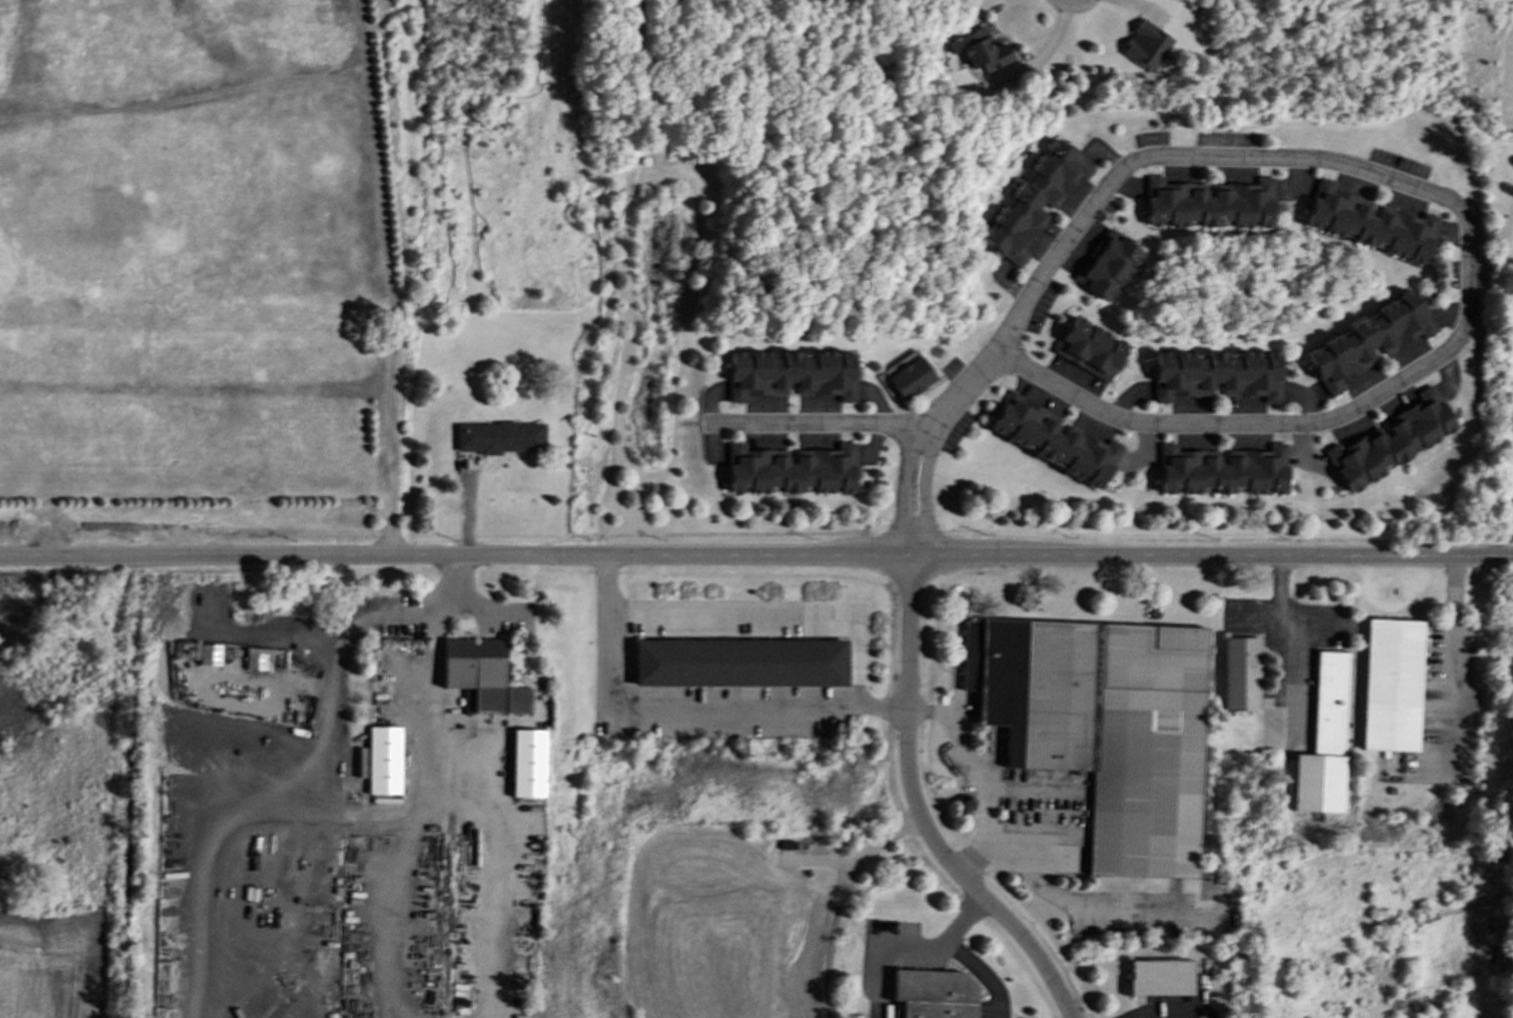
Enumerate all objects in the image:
road: (1048, 45)
building: (1146, 46)
building: (978, 49)
building: (1035, 199)
building: (1210, 203)
road: (1094, 205)
building: (1370, 222)
building: (1107, 265)
building: (1368, 340)
building: (1089, 348)
building: (790, 374)
building: (1215, 374)
building: (905, 376)
road: (823, 423)
road: (1290, 425)
building: (498, 437)
building: (1054, 440)
building: (1390, 440)
building: (791, 469)
building: (1222, 470)
road: (756, 556)
road: (778, 614)
road: (1294, 634)
road: (1455, 642)
building: (209, 654)
building: (254, 659)
building: (740, 663)
building: (1241, 673)
building: (481, 676)
building: (1392, 685)
road: (677, 713)
building: (1103, 726)
building: (1324, 740)
road: (335, 755)
road: (431, 756)
building: (383, 760)
building: (527, 763)
road: (981, 773)
road: (914, 814)
road: (492, 863)
road: (837, 899)
road: (1081, 913)
road: (958, 956)
building: (1160, 976)
building: (933, 993)
road: (1169, 1016)

